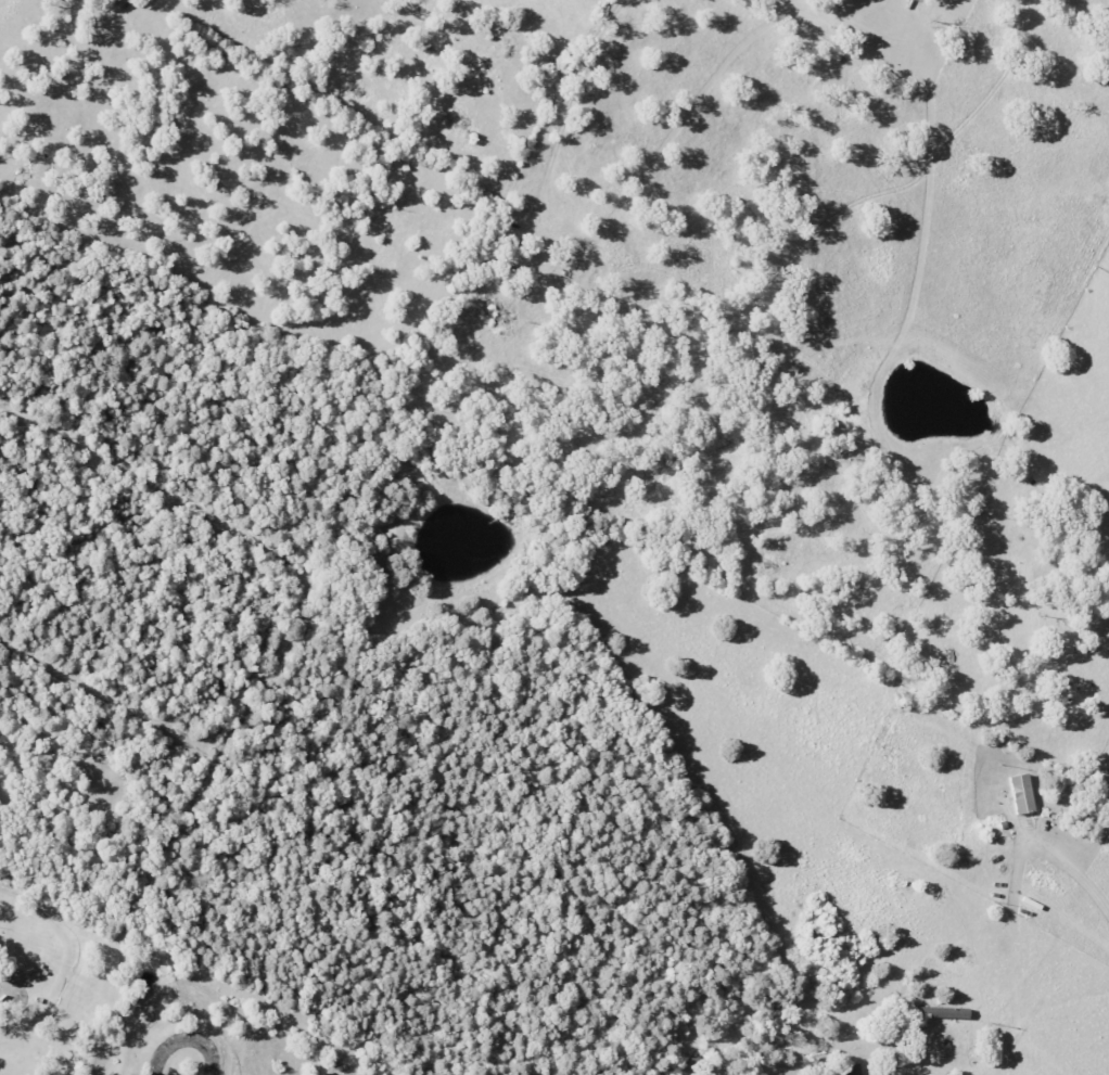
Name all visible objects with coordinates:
road: (1, 754)
building: (1019, 793)
road: (1084, 882)
building: (942, 1012)
road: (186, 1040)
building: (852, 1070)

